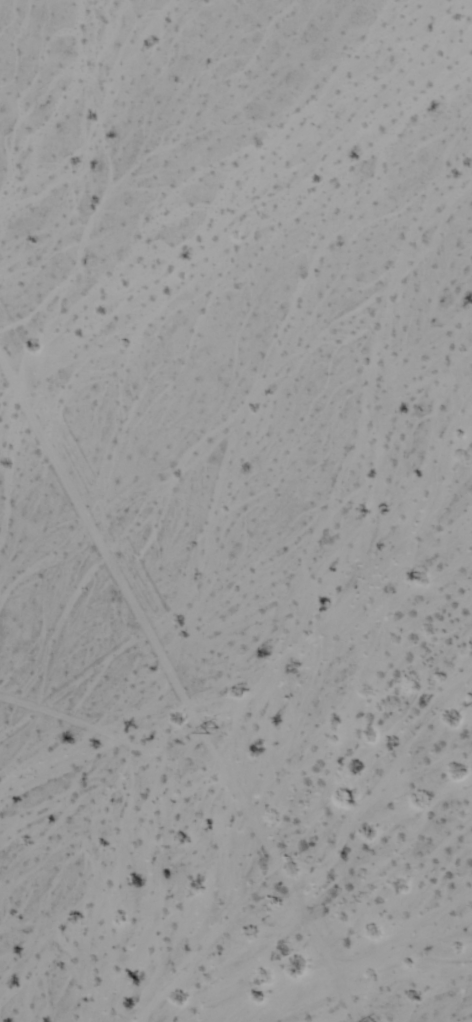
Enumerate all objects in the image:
road: (171, 681)
power tower: (220, 728)

